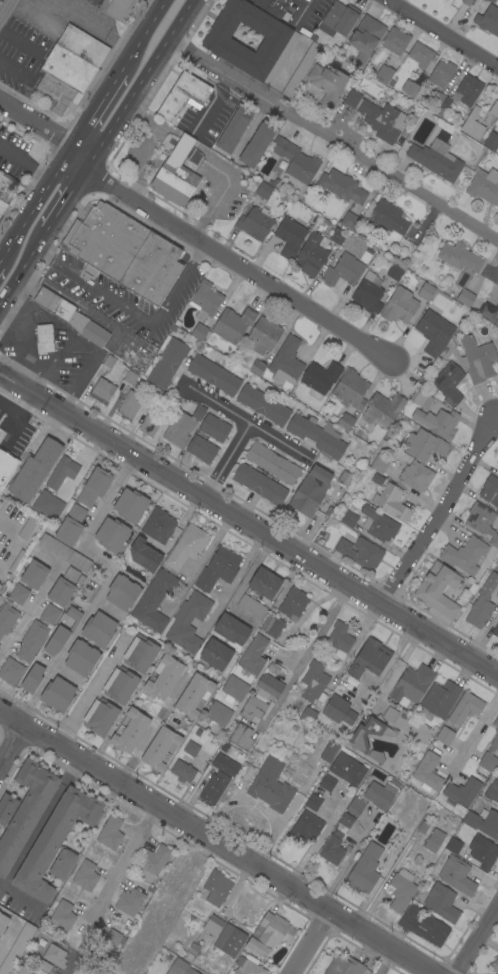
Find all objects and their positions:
building: (0, 0)
building: (490, 0)
building: (466, 2)
building: (272, 6)
building: (117, 8)
road: (5, 9)
building: (339, 19)
building: (488, 20)
road: (90, 23)
road: (442, 34)
road: (140, 36)
building: (365, 37)
building: (395, 40)
building: (279, 41)
building: (82, 45)
building: (420, 55)
building: (68, 68)
building: (301, 69)
building: (384, 74)
building: (441, 74)
building: (419, 78)
building: (91, 81)
building: (327, 83)
road: (144, 84)
building: (409, 87)
building: (467, 90)
building: (55, 93)
building: (182, 96)
building: (436, 103)
building: (445, 106)
building: (494, 109)
road: (93, 110)
building: (377, 117)
road: (152, 122)
road: (35, 123)
building: (473, 124)
building: (444, 125)
building: (234, 129)
road: (186, 138)
road: (335, 140)
building: (490, 140)
building: (257, 143)
building: (496, 147)
building: (193, 156)
road: (79, 158)
building: (436, 159)
road: (138, 160)
building: (295, 160)
building: (176, 174)
building: (6, 186)
building: (342, 186)
road: (226, 187)
building: (484, 187)
building: (263, 190)
road: (71, 200)
road: (34, 204)
building: (2, 207)
building: (386, 217)
building: (350, 220)
building: (255, 223)
building: (337, 236)
building: (290, 237)
building: (123, 252)
building: (310, 255)
building: (459, 257)
road: (244, 267)
building: (343, 271)
road: (25, 272)
building: (394, 272)
building: (367, 294)
building: (465, 297)
building: (205, 300)
building: (405, 302)
building: (489, 312)
road: (134, 314)
building: (71, 316)
building: (232, 324)
building: (434, 331)
building: (200, 332)
building: (263, 335)
building: (186, 336)
building: (45, 339)
building: (477, 359)
building: (108, 361)
building: (286, 361)
building: (167, 363)
building: (257, 368)
building: (213, 375)
building: (130, 377)
building: (320, 378)
building: (447, 384)
building: (350, 389)
building: (102, 391)
building: (153, 397)
building: (421, 398)
building: (263, 405)
building: (128, 406)
building: (382, 410)
road: (249, 420)
building: (345, 422)
building: (438, 422)
building: (148, 426)
building: (182, 426)
building: (214, 428)
building: (319, 435)
building: (425, 445)
building: (15, 449)
building: (201, 449)
road: (228, 460)
building: (272, 463)
building: (379, 463)
building: (33, 470)
building: (497, 471)
building: (62, 472)
building: (416, 476)
building: (344, 478)
building: (377, 479)
building: (259, 484)
building: (94, 487)
building: (490, 490)
building: (310, 491)
building: (391, 502)
building: (47, 505)
building: (130, 505)
road: (442, 511)
building: (349, 519)
building: (483, 521)
building: (378, 524)
building: (158, 525)
road: (249, 525)
building: (70, 526)
building: (112, 534)
building: (186, 546)
building: (64, 552)
building: (360, 552)
building: (144, 554)
building: (464, 555)
road: (202, 560)
building: (218, 569)
building: (34, 574)
building: (73, 575)
road: (239, 581)
building: (265, 583)
building: (0, 585)
building: (438, 589)
building: (61, 592)
building: (122, 592)
building: (497, 593)
building: (18, 594)
building: (154, 600)
building: (292, 603)
building: (482, 603)
building: (251, 606)
road: (89, 607)
road: (30, 611)
building: (7, 618)
building: (188, 622)
building: (272, 625)
building: (98, 629)
building: (231, 629)
building: (495, 630)
building: (37, 633)
building: (61, 633)
building: (340, 638)
road: (353, 648)
building: (140, 653)
building: (216, 654)
road: (307, 654)
building: (253, 656)
building: (81, 657)
building: (369, 658)
building: (272, 668)
building: (10, 671)
building: (163, 676)
building: (32, 678)
building: (313, 682)
building: (120, 685)
building: (411, 685)
building: (269, 686)
road: (96, 688)
building: (234, 689)
building: (57, 695)
building: (194, 696)
building: (439, 700)
building: (252, 708)
building: (465, 708)
building: (338, 710)
building: (390, 714)
building: (217, 715)
building: (308, 715)
building: (100, 717)
road: (150, 727)
building: (129, 730)
building: (496, 732)
building: (369, 733)
building: (444, 735)
building: (241, 736)
road: (474, 736)
building: (160, 748)
building: (191, 748)
building: (329, 751)
building: (376, 756)
building: (487, 761)
building: (347, 769)
building: (183, 771)
building: (427, 772)
building: (218, 779)
building: (327, 783)
building: (270, 786)
building: (462, 792)
building: (491, 792)
building: (380, 794)
building: (313, 801)
building: (355, 806)
building: (6, 807)
building: (26, 810)
road: (43, 820)
building: (483, 822)
building: (305, 827)
building: (110, 832)
building: (55, 840)
road: (215, 840)
road: (318, 841)
building: (335, 841)
building: (434, 841)
building: (453, 845)
building: (482, 852)
building: (154, 859)
road: (124, 860)
road: (347, 861)
building: (62, 863)
building: (364, 869)
building: (85, 875)
building: (457, 875)
building: (216, 887)
building: (401, 890)
building: (129, 902)
building: (441, 902)
building: (62, 915)
building: (3, 922)
building: (213, 925)
building: (424, 926)
building: (270, 934)
road: (475, 937)
building: (229, 940)
building: (106, 942)
road: (310, 944)
building: (17, 948)
building: (55, 956)
road: (383, 962)
building: (495, 965)
building: (248, 966)
building: (344, 966)
building: (181, 967)
building: (22, 968)

